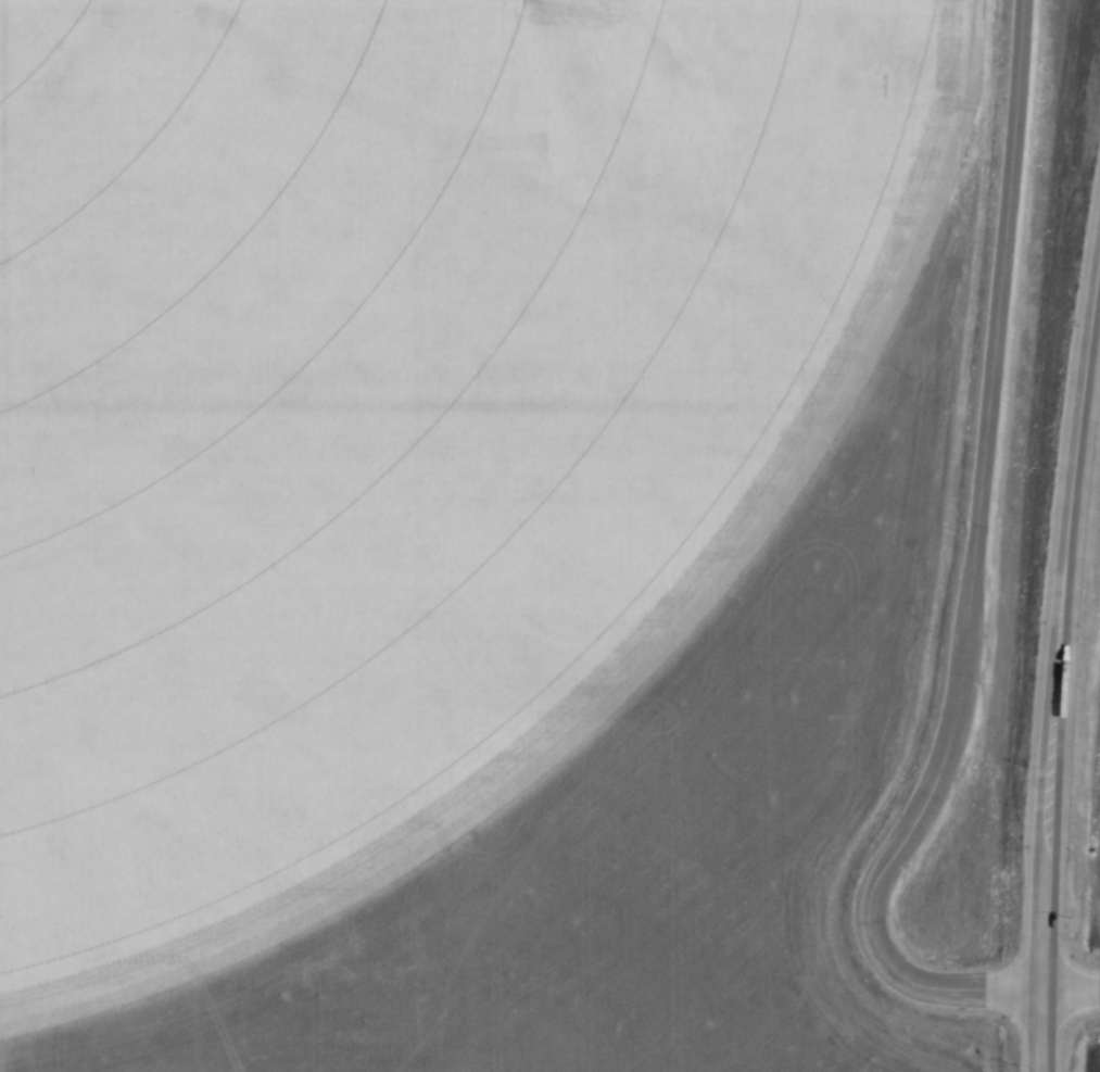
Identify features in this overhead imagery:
road: (973, 571)
road: (1057, 621)
road: (1070, 987)
road: (1040, 1030)

